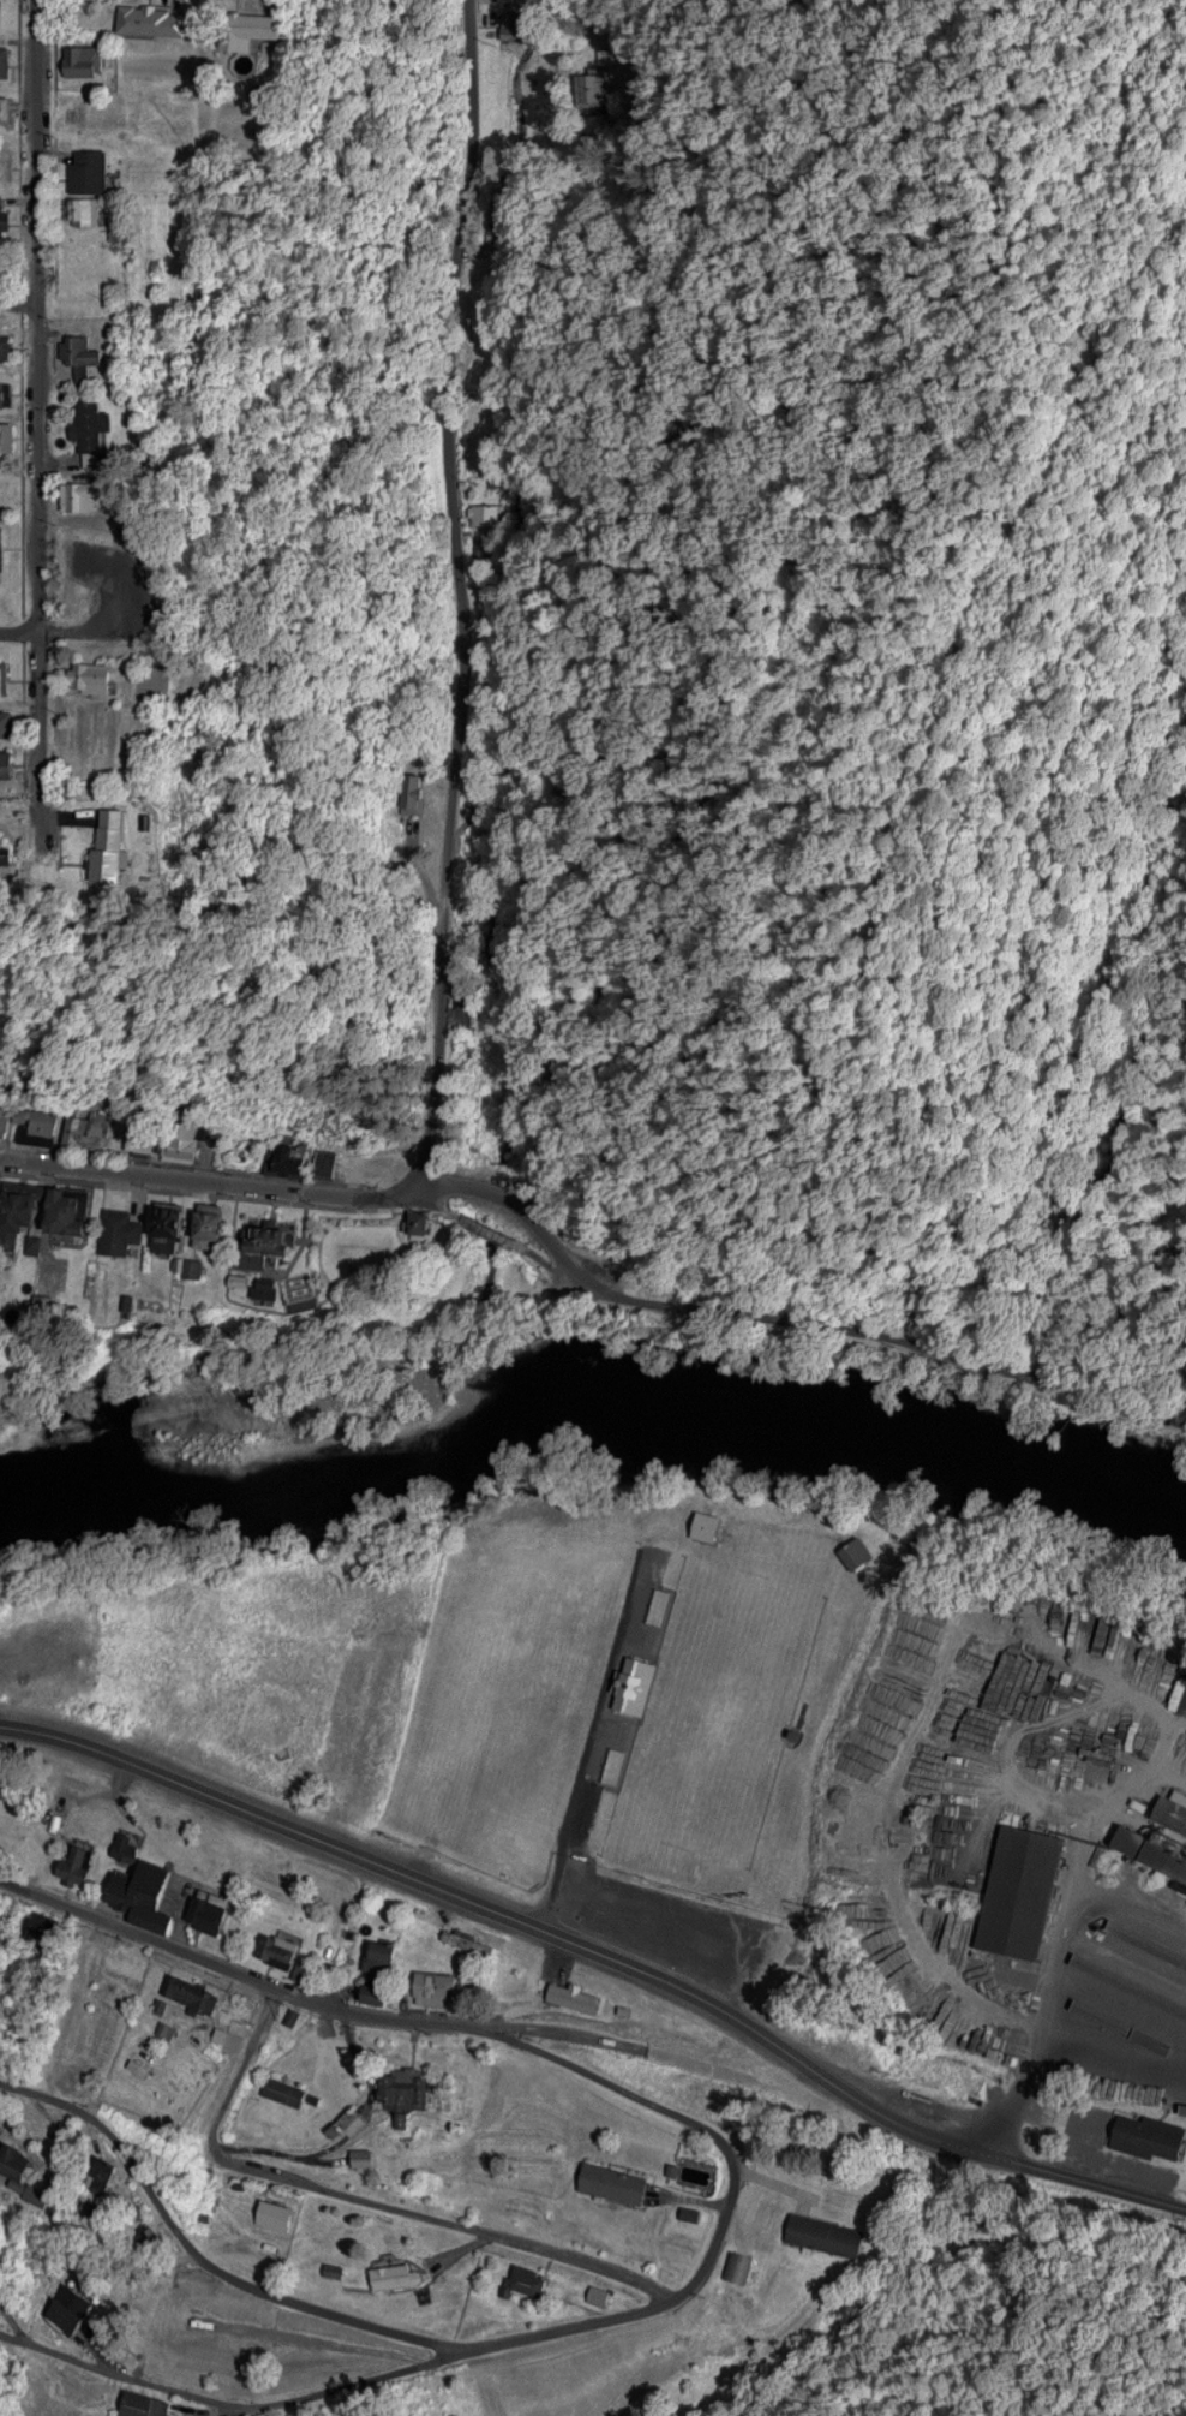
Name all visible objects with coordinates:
road: (176, 4)
building: (1, 11)
building: (145, 19)
building: (227, 24)
building: (2, 60)
building: (79, 60)
building: (598, 82)
building: (5, 108)
building: (86, 114)
building: (84, 169)
building: (1, 216)
road: (17, 298)
building: (4, 345)
building: (78, 350)
building: (5, 393)
road: (31, 419)
building: (85, 422)
building: (5, 435)
building: (77, 494)
building: (1, 554)
road: (454, 589)
road: (13, 627)
building: (83, 676)
building: (4, 678)
building: (8, 721)
building: (12, 763)
building: (406, 792)
building: (140, 840)
building: (1, 1116)
building: (32, 1123)
building: (144, 1138)
building: (86, 1139)
building: (184, 1141)
building: (306, 1156)
road: (453, 1180)
building: (0, 1182)
building: (418, 1221)
building: (25, 1224)
building: (74, 1225)
building: (173, 1225)
building: (214, 1234)
building: (121, 1240)
building: (277, 1240)
building: (305, 1284)
road: (1029, 1366)
river: (592, 1410)
building: (851, 1550)
building: (118, 1613)
building: (628, 1687)
park: (723, 1708)
road: (581, 1766)
building: (122, 1845)
building: (74, 1866)
building: (1014, 1890)
building: (144, 1893)
road: (629, 1911)
building: (204, 1915)
road: (917, 1915)
road: (527, 1925)
building: (275, 1949)
building: (124, 1963)
building: (430, 1987)
building: (187, 1993)
building: (373, 1996)
road: (274, 1997)
building: (581, 1999)
building: (403, 2087)
building: (281, 2090)
building: (1144, 2134)
building: (358, 2159)
building: (23, 2171)
building: (607, 2182)
road: (1110, 2188)
road: (363, 2202)
building: (272, 2214)
building: (819, 2235)
road: (198, 2265)
building: (733, 2266)
building: (330, 2271)
building: (390, 2277)
building: (522, 2278)
building: (594, 2293)
building: (73, 2304)
road: (673, 2307)
road: (114, 2379)
building: (139, 2404)

